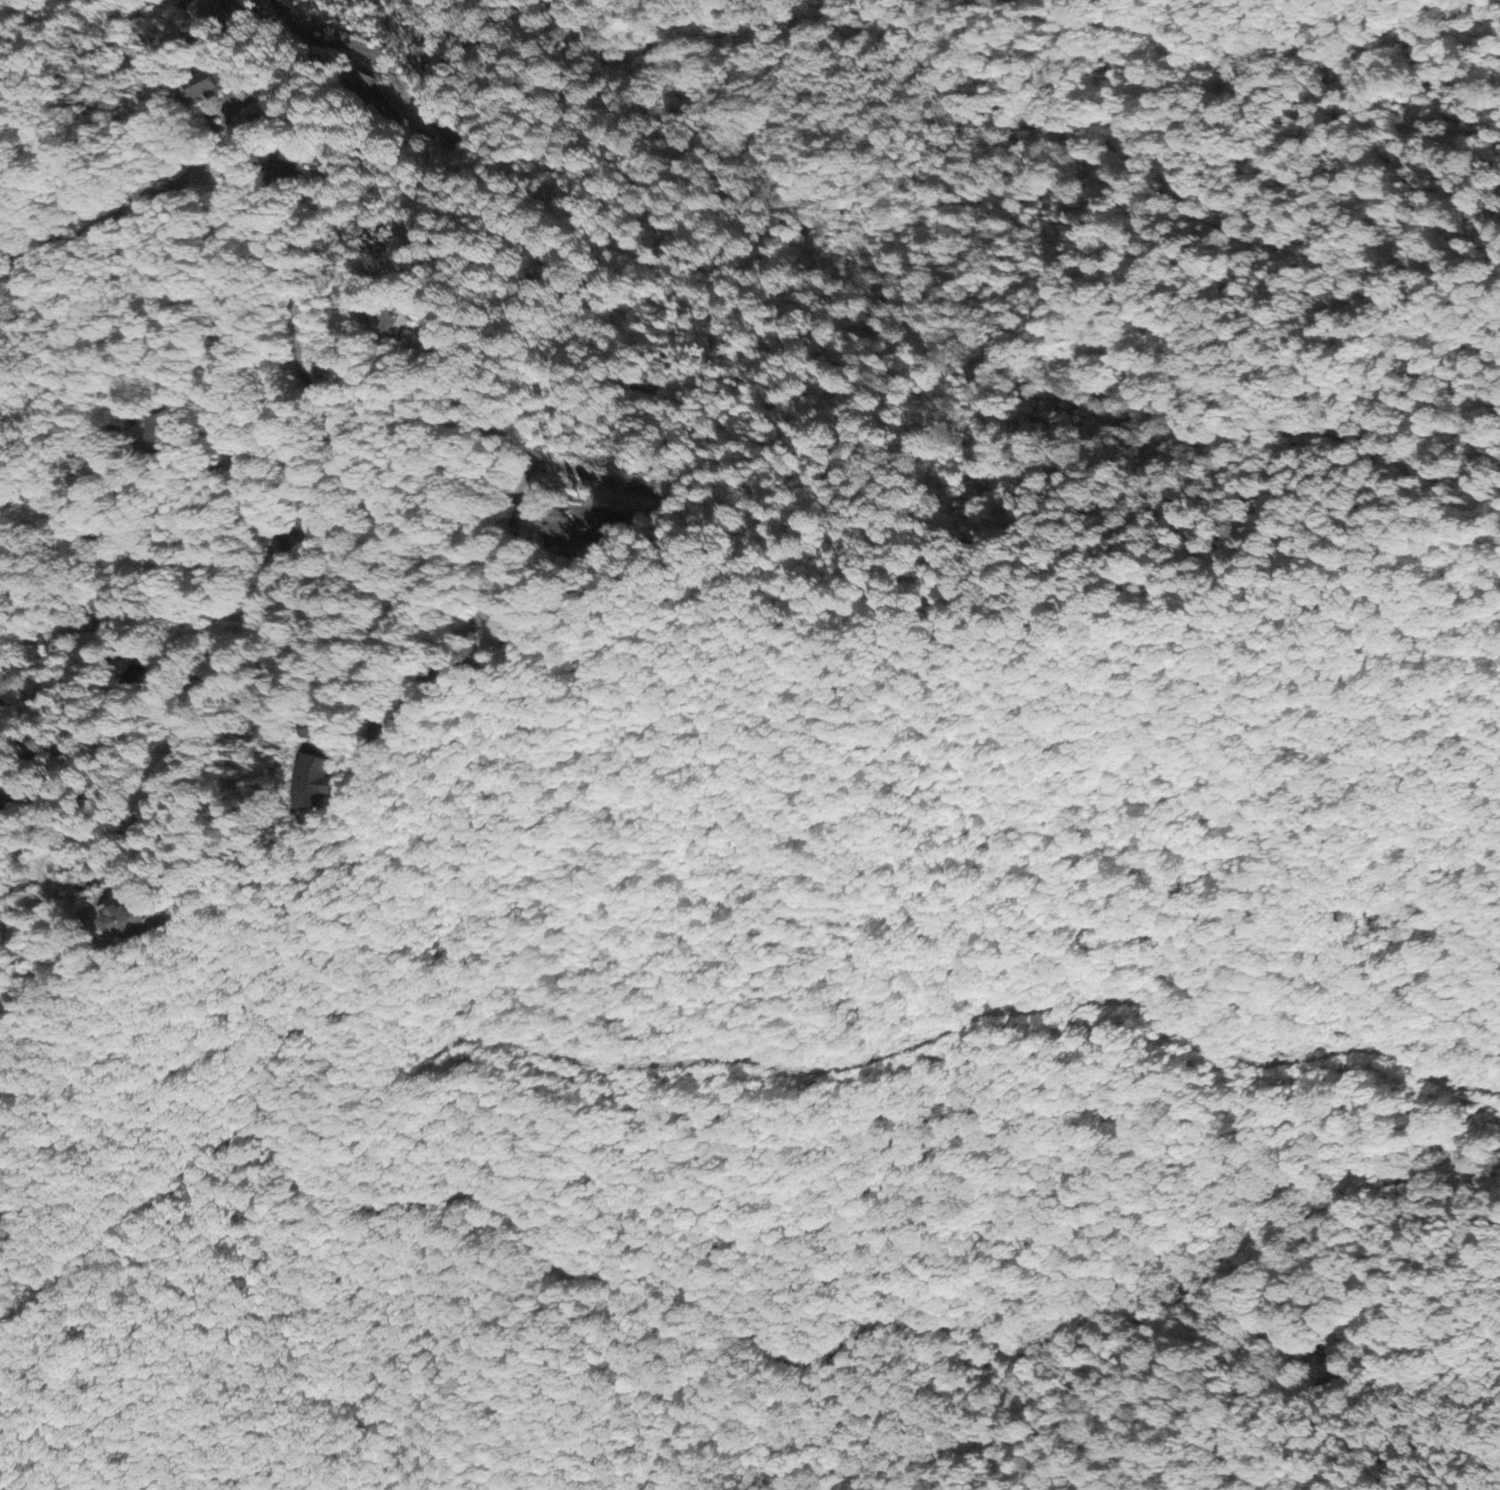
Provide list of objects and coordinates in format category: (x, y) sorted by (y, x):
road: (372, 51)
road: (327, 152)
building: (397, 323)
road: (132, 419)
building: (168, 432)
road: (78, 516)
building: (563, 533)
building: (315, 732)
building: (313, 780)
building: (124, 924)
road: (822, 1143)

